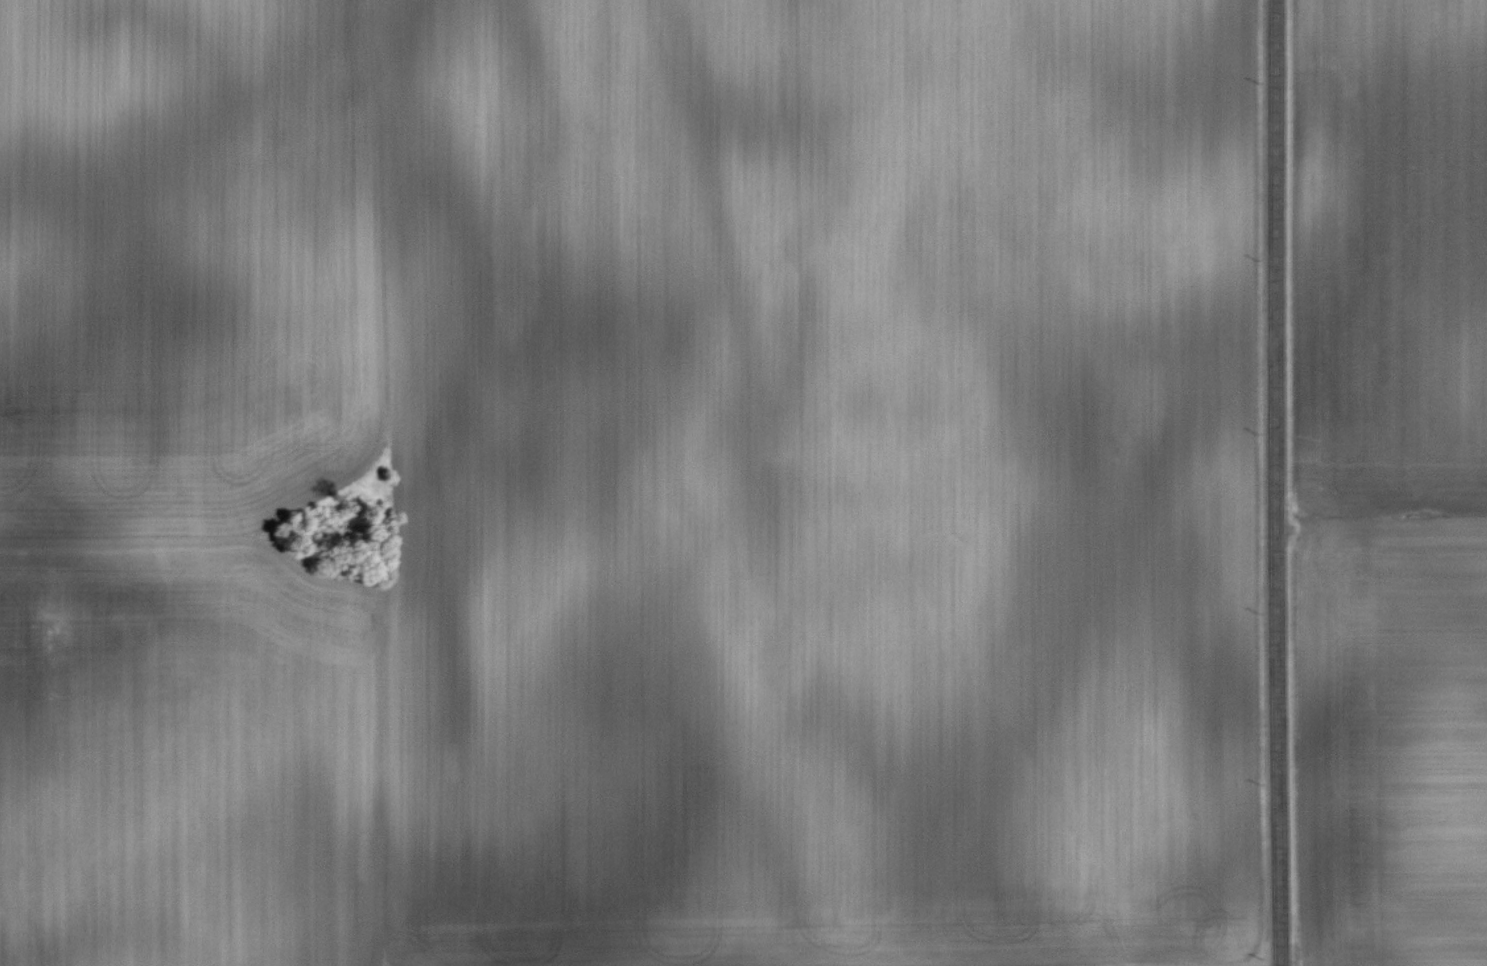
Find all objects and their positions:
road: (1278, 483)

